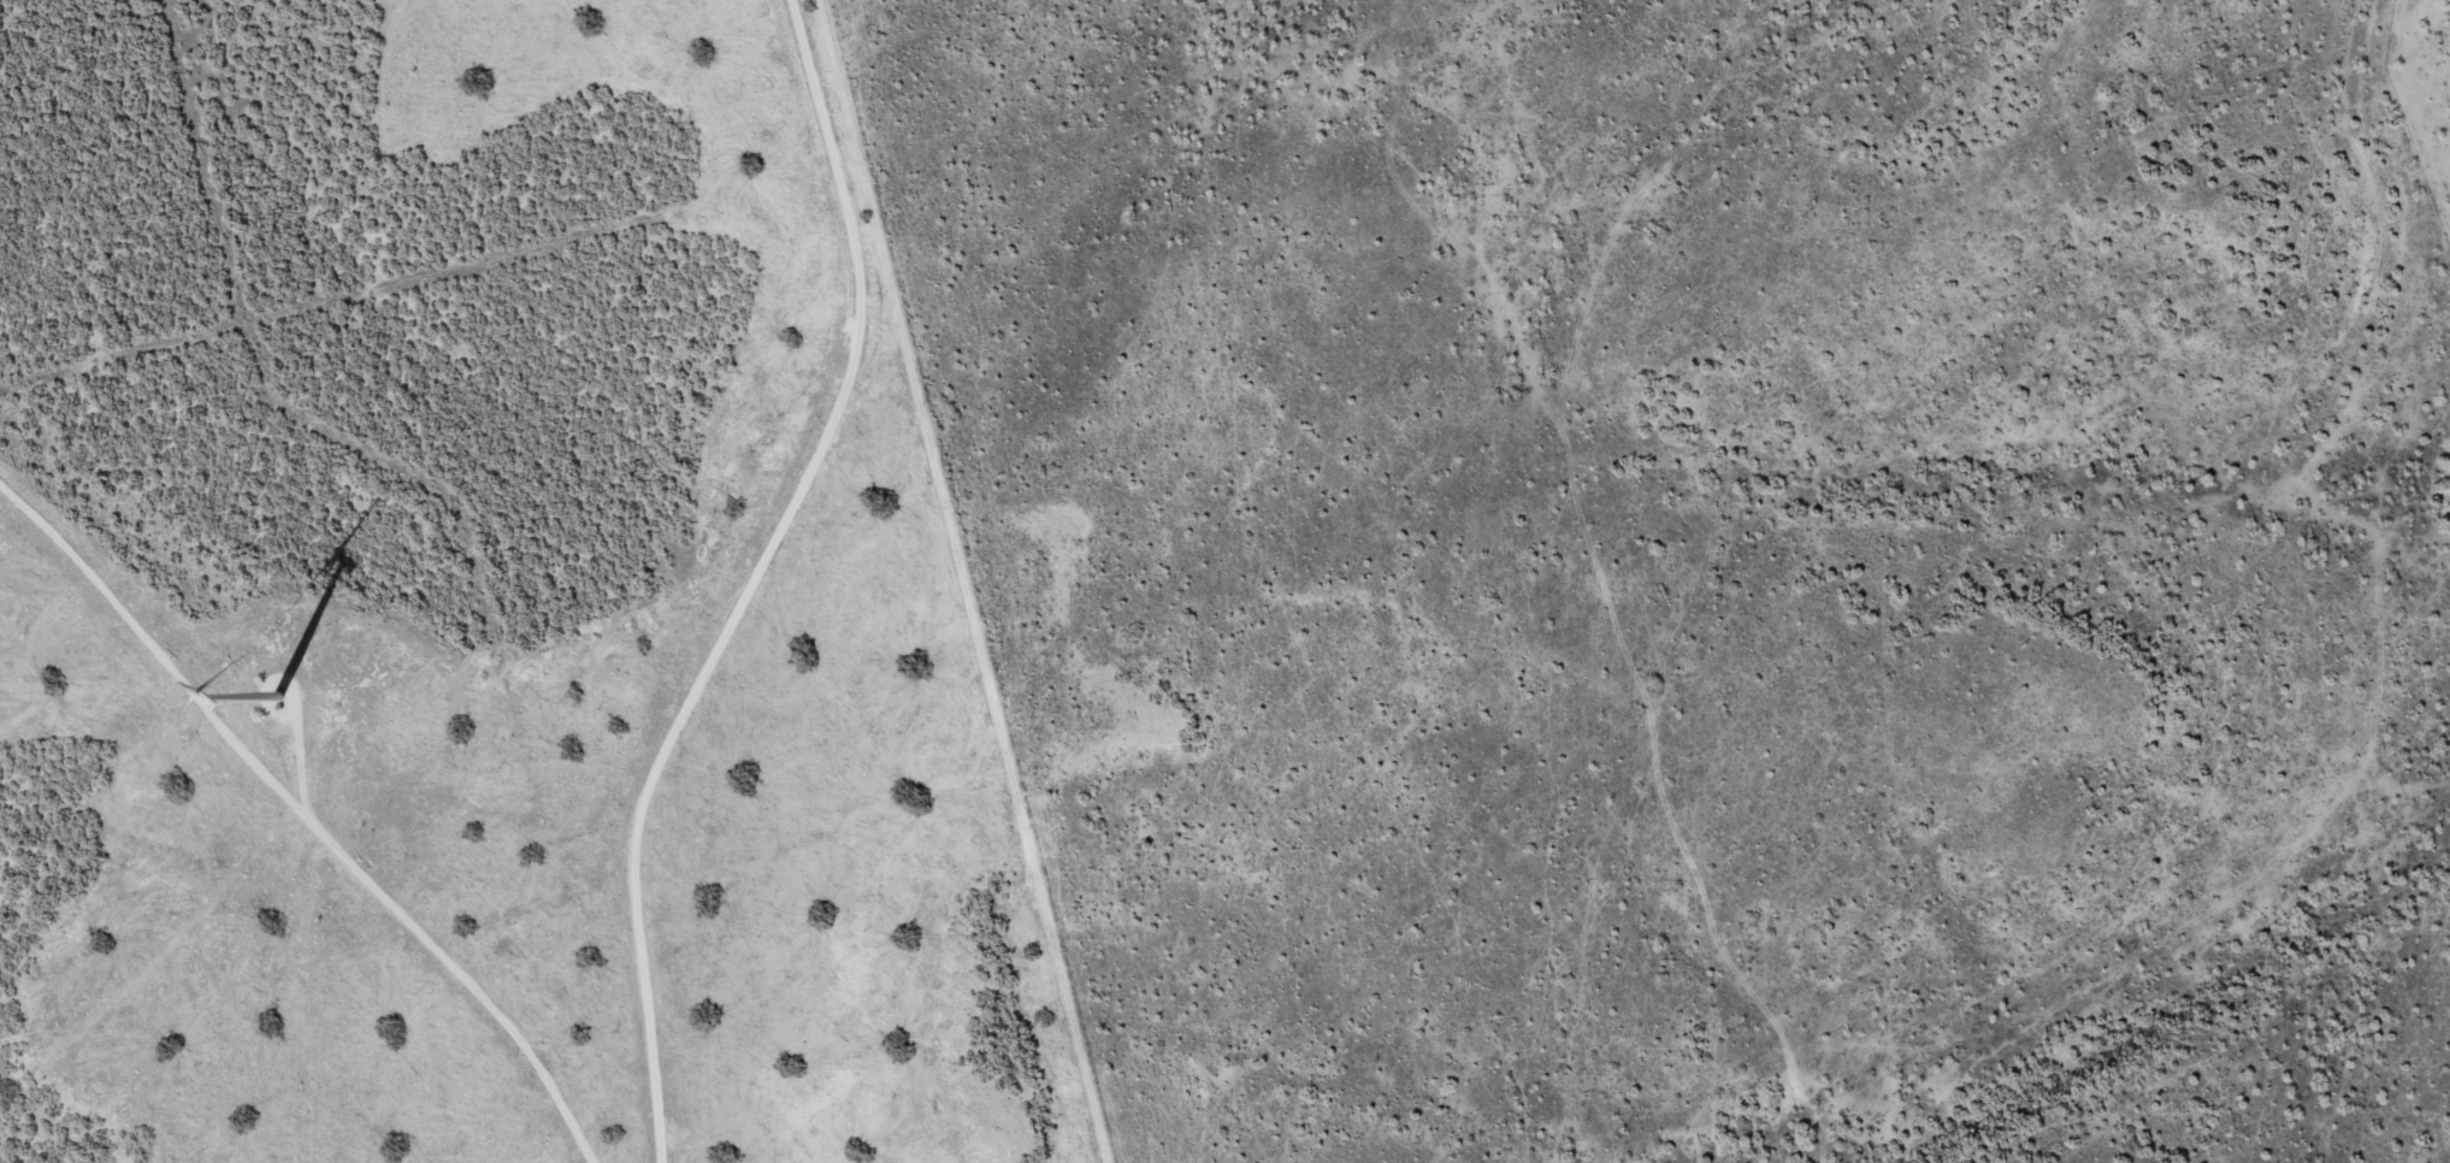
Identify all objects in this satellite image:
road: (1628, 584)
wind turbine: (277, 698)

